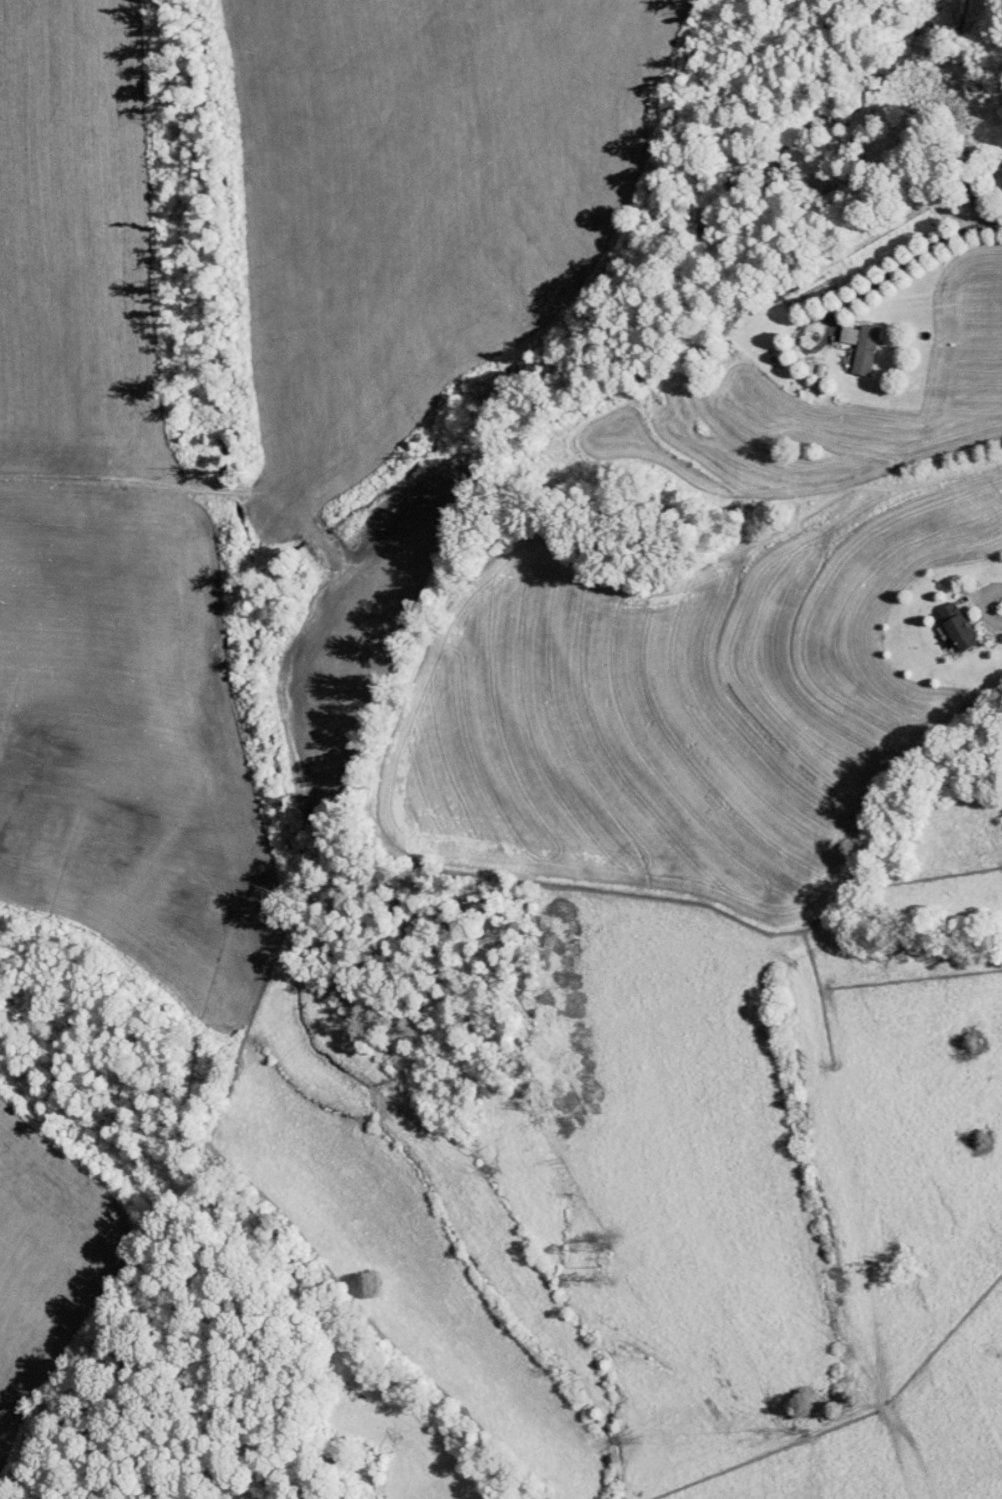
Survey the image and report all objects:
road: (913, 254)
building: (848, 339)
road: (985, 604)
building: (944, 620)

